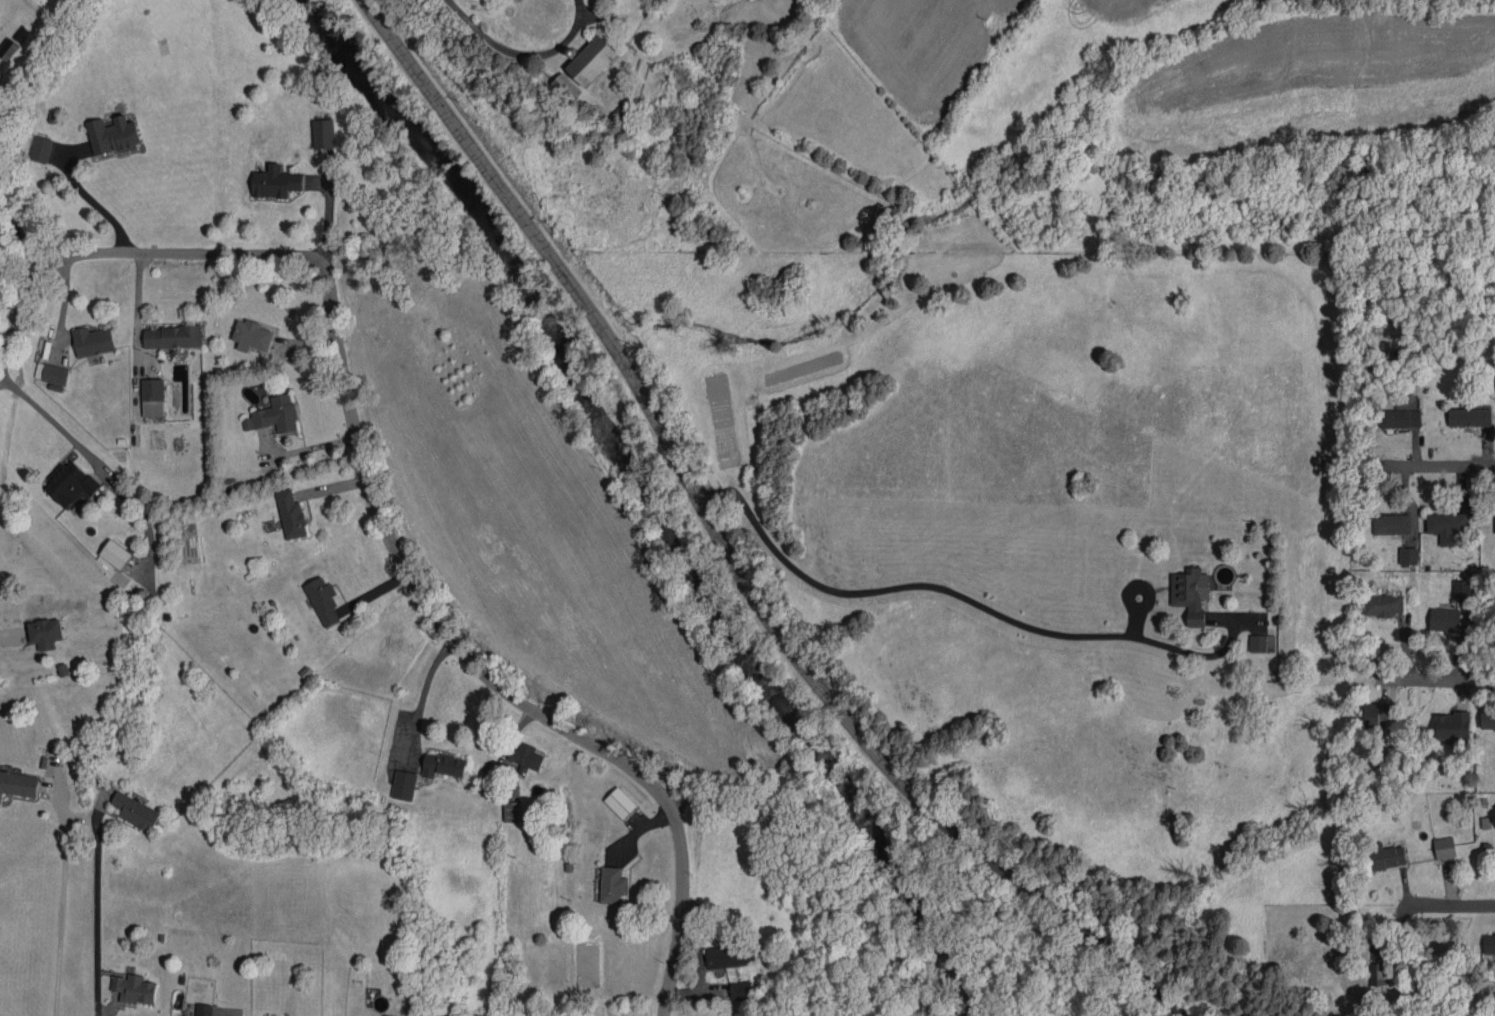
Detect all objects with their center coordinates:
road: (520, 52)
building: (592, 60)
building: (565, 86)
building: (323, 133)
building: (112, 134)
building: (41, 148)
building: (276, 182)
road: (95, 202)
road: (19, 245)
building: (252, 335)
building: (172, 336)
building: (92, 340)
building: (51, 372)
building: (152, 397)
building: (274, 414)
building: (1470, 416)
building: (1400, 418)
road: (99, 463)
road: (1439, 465)
building: (71, 484)
road: (379, 501)
building: (291, 514)
building: (1392, 523)
building: (1447, 526)
road: (728, 549)
building: (115, 553)
building: (1408, 555)
road: (928, 585)
building: (1462, 587)
building: (1190, 593)
building: (323, 600)
building: (1382, 604)
building: (1445, 620)
building: (45, 632)
building: (1258, 643)
road: (1434, 681)
road: (422, 692)
building: (1375, 713)
building: (1487, 719)
building: (1453, 725)
building: (526, 757)
building: (443, 765)
building: (18, 783)
building: (403, 784)
building: (620, 802)
building: (136, 810)
building: (512, 811)
building: (1444, 847)
building: (1384, 858)
building: (613, 884)
road: (1452, 904)
road: (61, 906)
road: (97, 920)
building: (1489, 943)
building: (730, 951)
building: (1381, 976)
building: (738, 986)
building: (134, 988)
building: (204, 1009)
road: (226, 1013)
building: (480, 1014)
building: (181, 1015)
building: (387, 1015)

